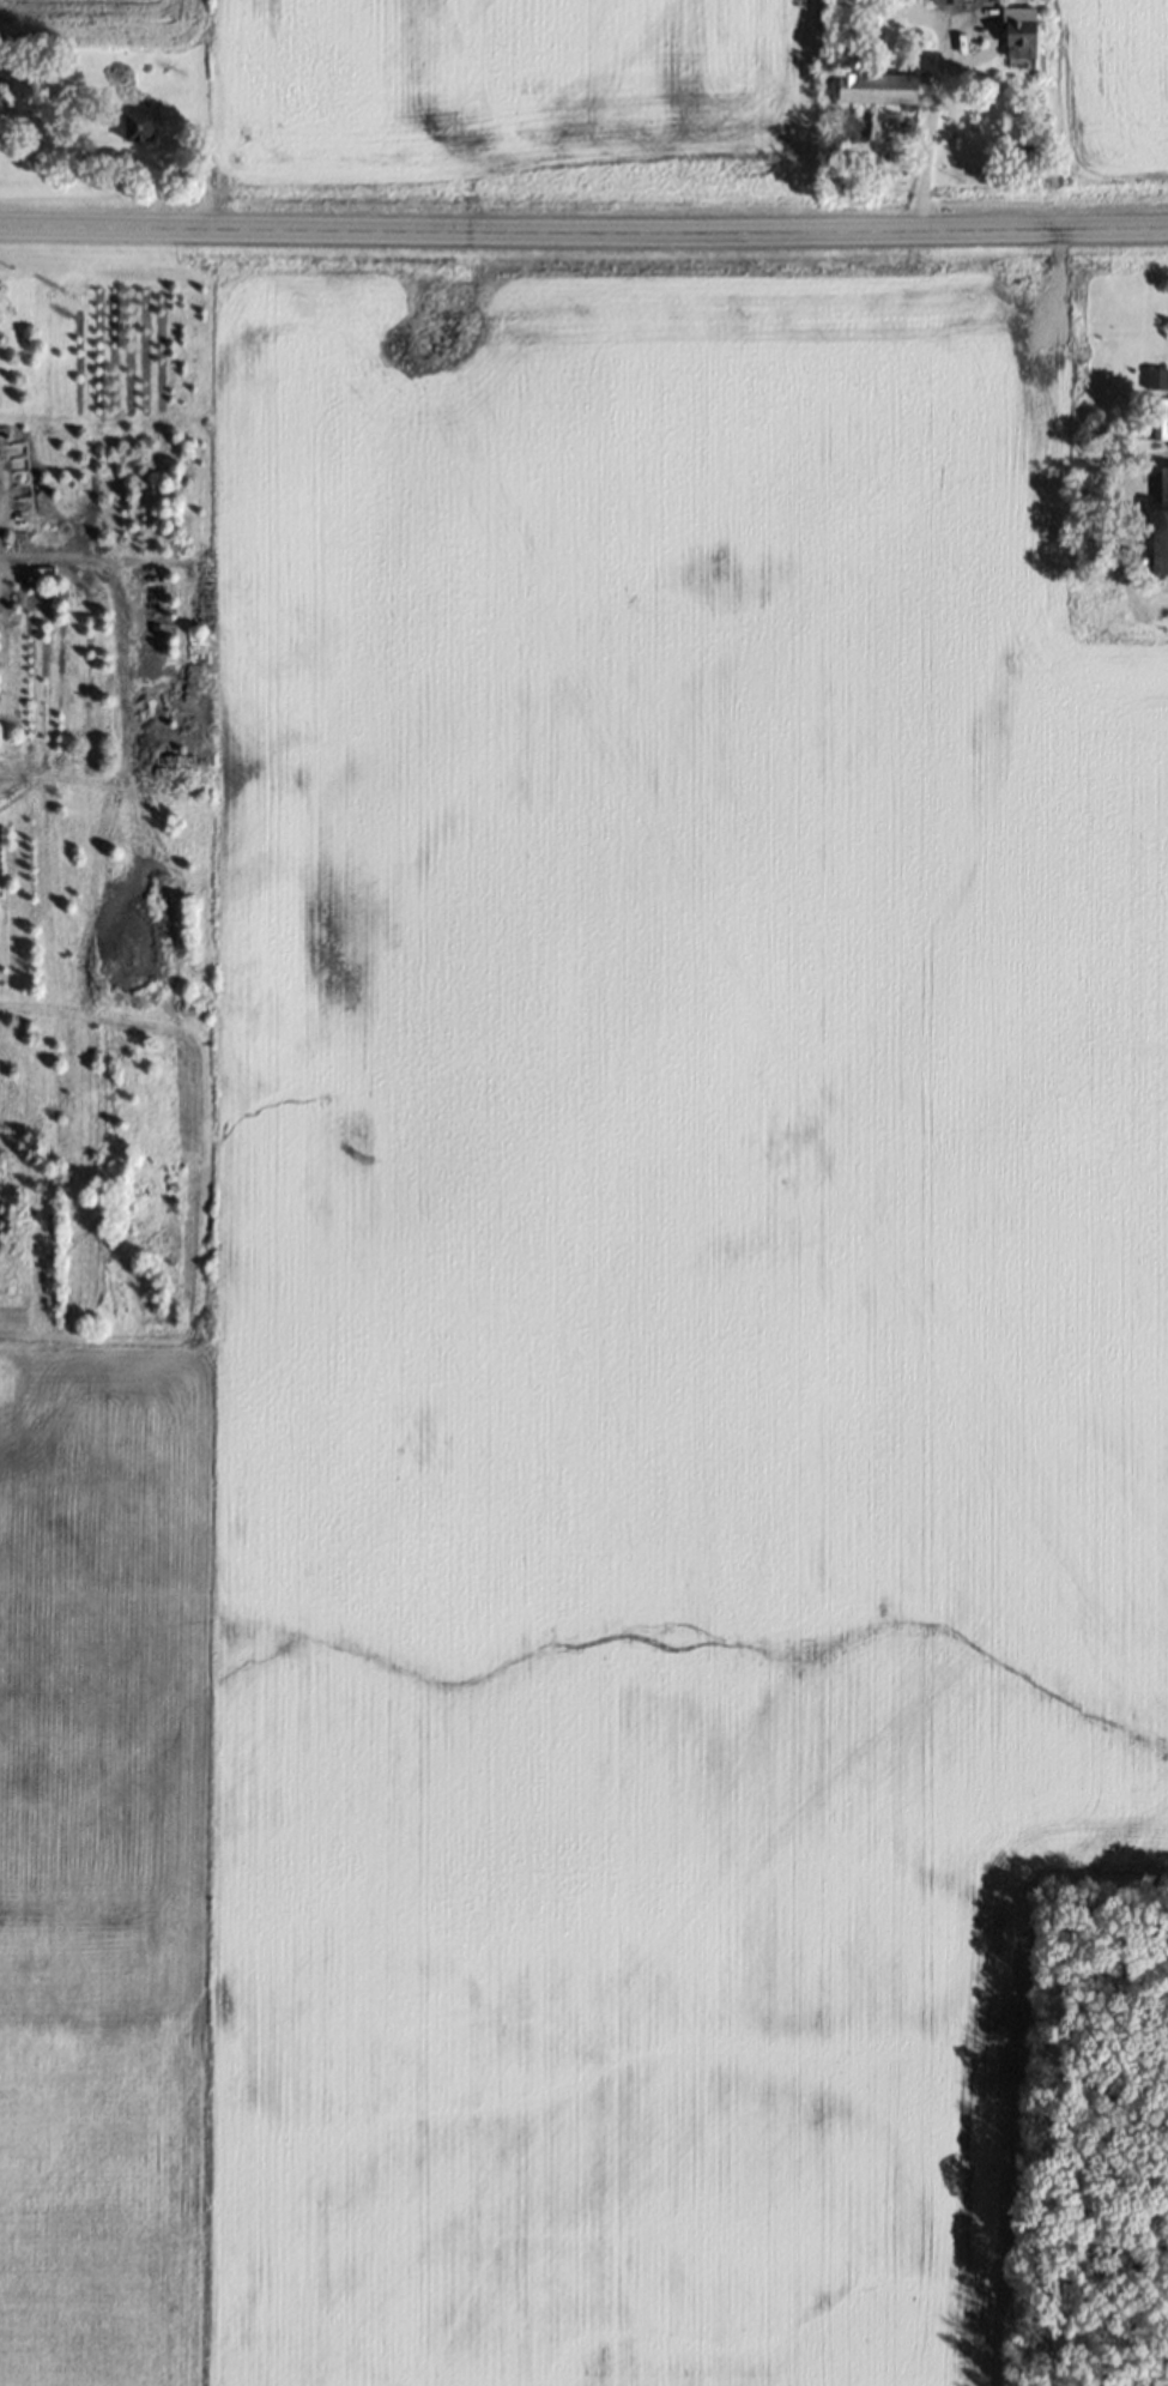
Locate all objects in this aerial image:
building: (1021, 32)
building: (880, 86)
crop: (1112, 90)
crop: (488, 95)
building: (147, 120)
road: (583, 231)
building: (1156, 379)
building: (1160, 419)
building: (1163, 521)
crop: (582, 1357)

